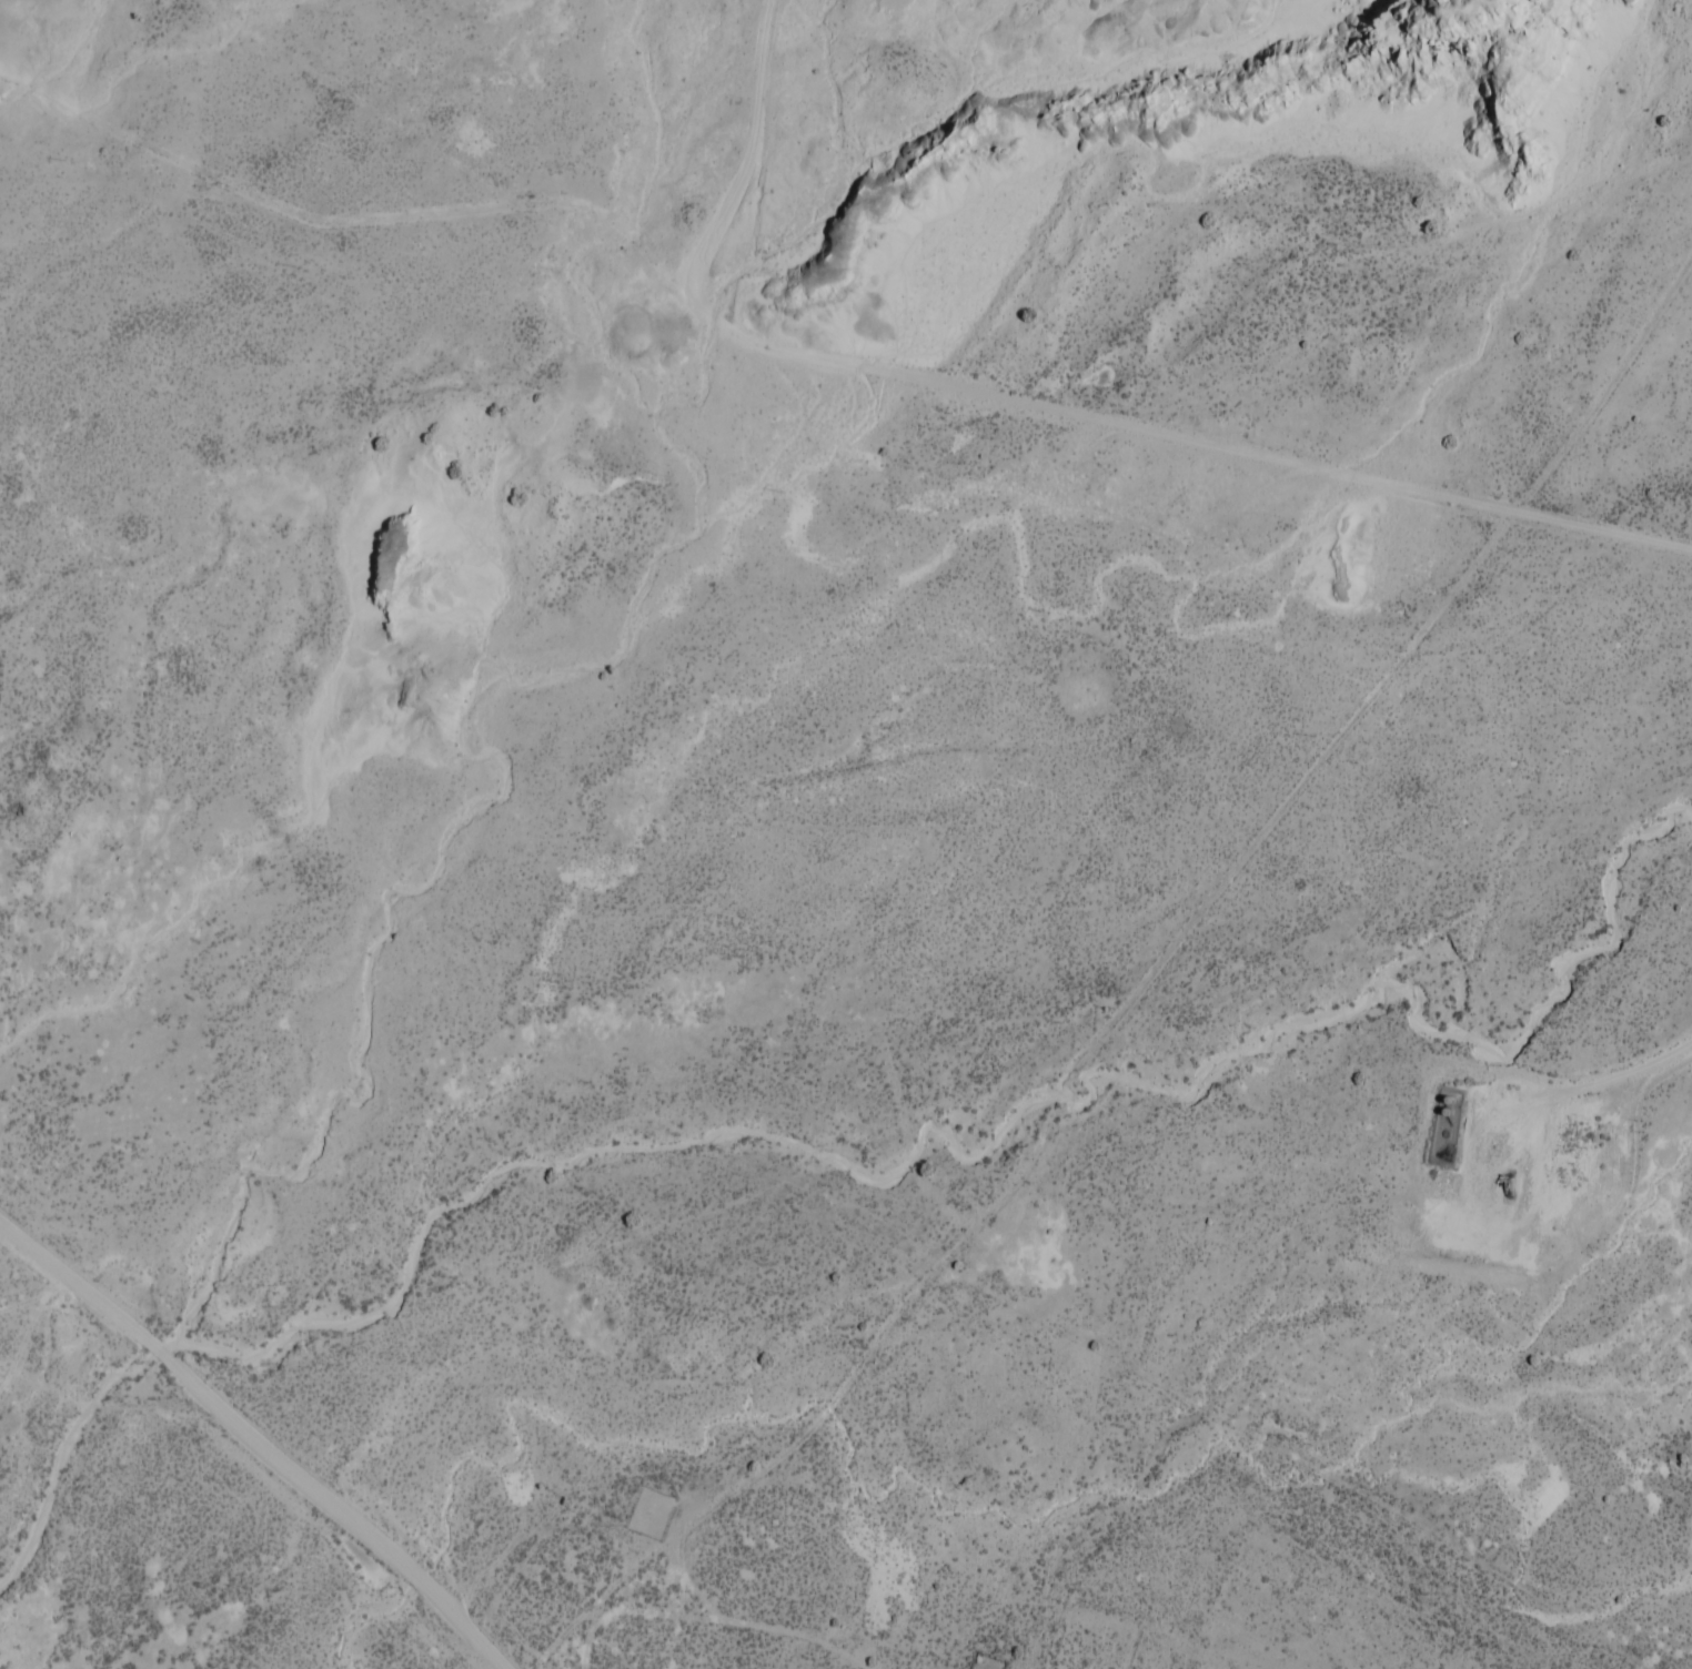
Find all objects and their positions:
road: (255, 1442)

